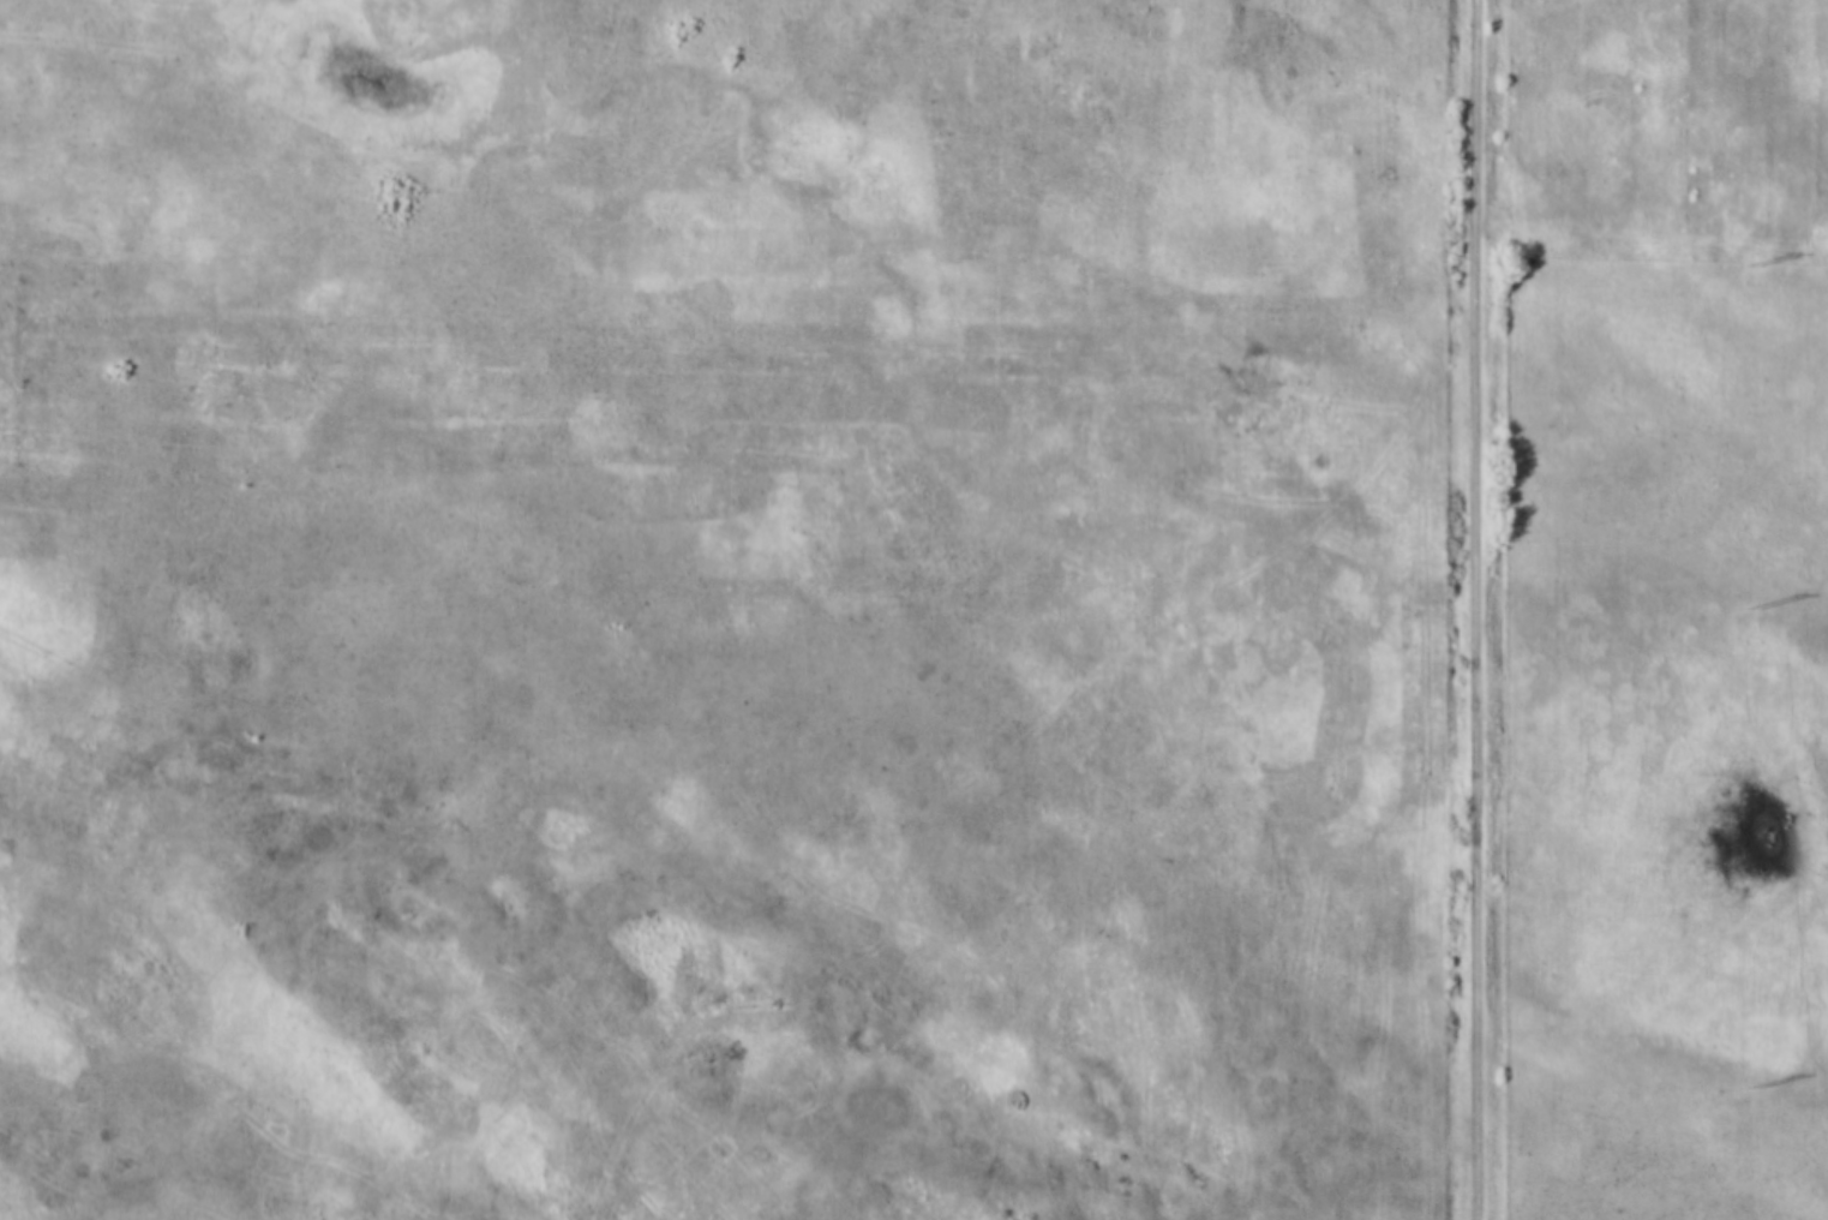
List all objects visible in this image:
power tower: (1755, 264)
power tower: (1756, 606)
road: (1480, 610)
power tower: (1756, 1088)

